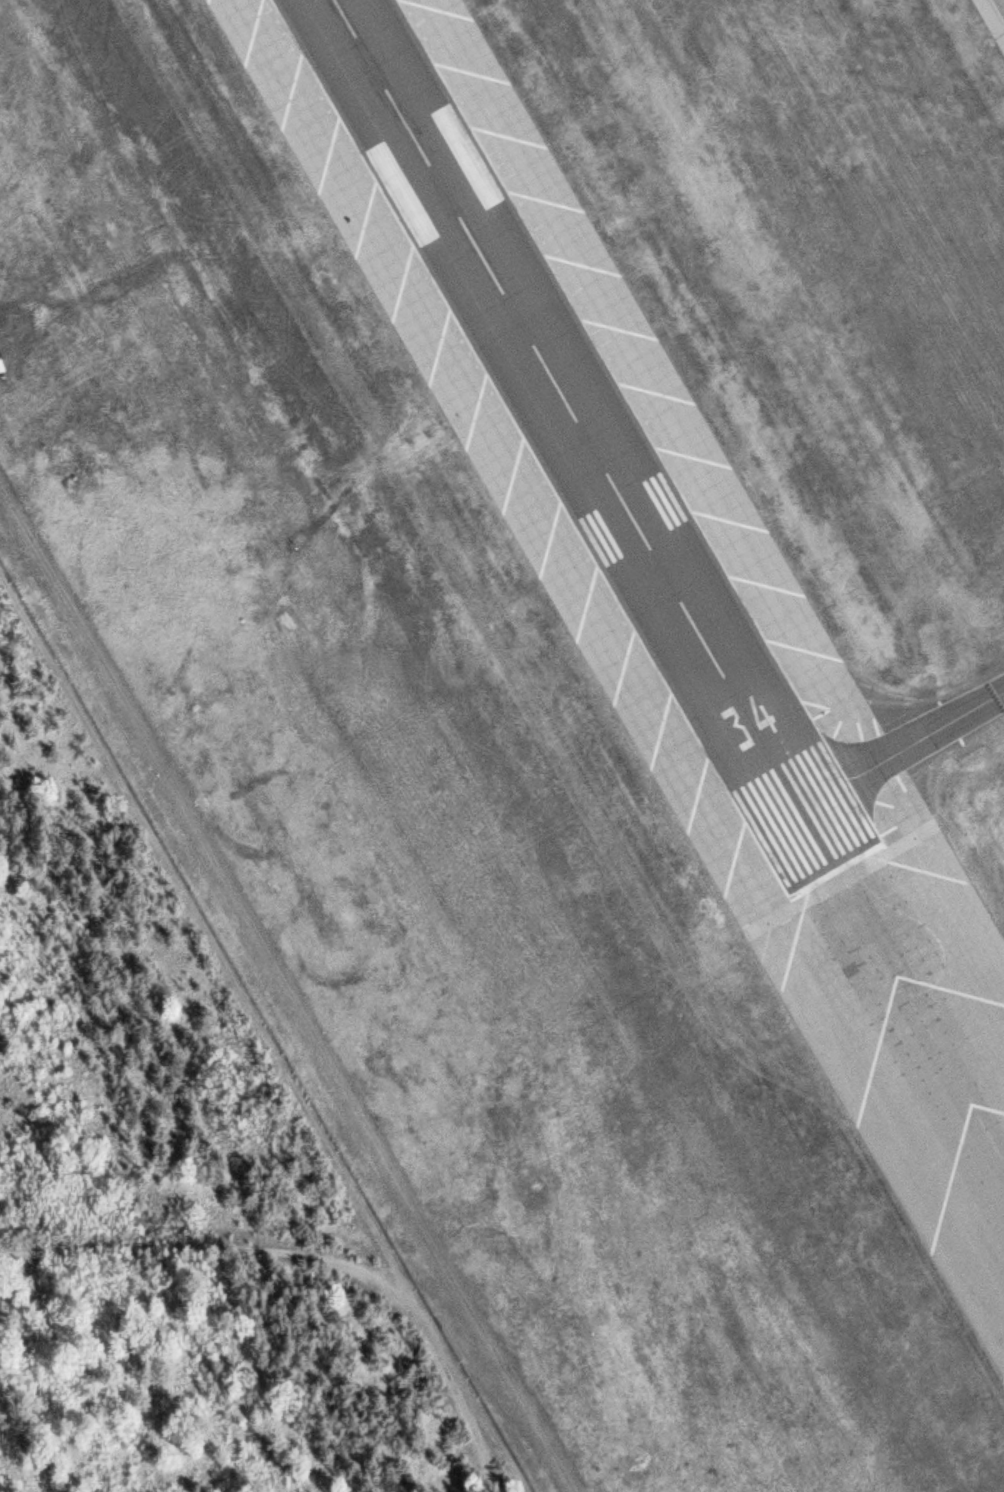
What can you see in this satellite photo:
airport runway: (576, 434)
airport apron: (735, 465)
airport: (565, 660)
airport taxiway: (896, 742)
road: (242, 919)
road: (309, 1293)

